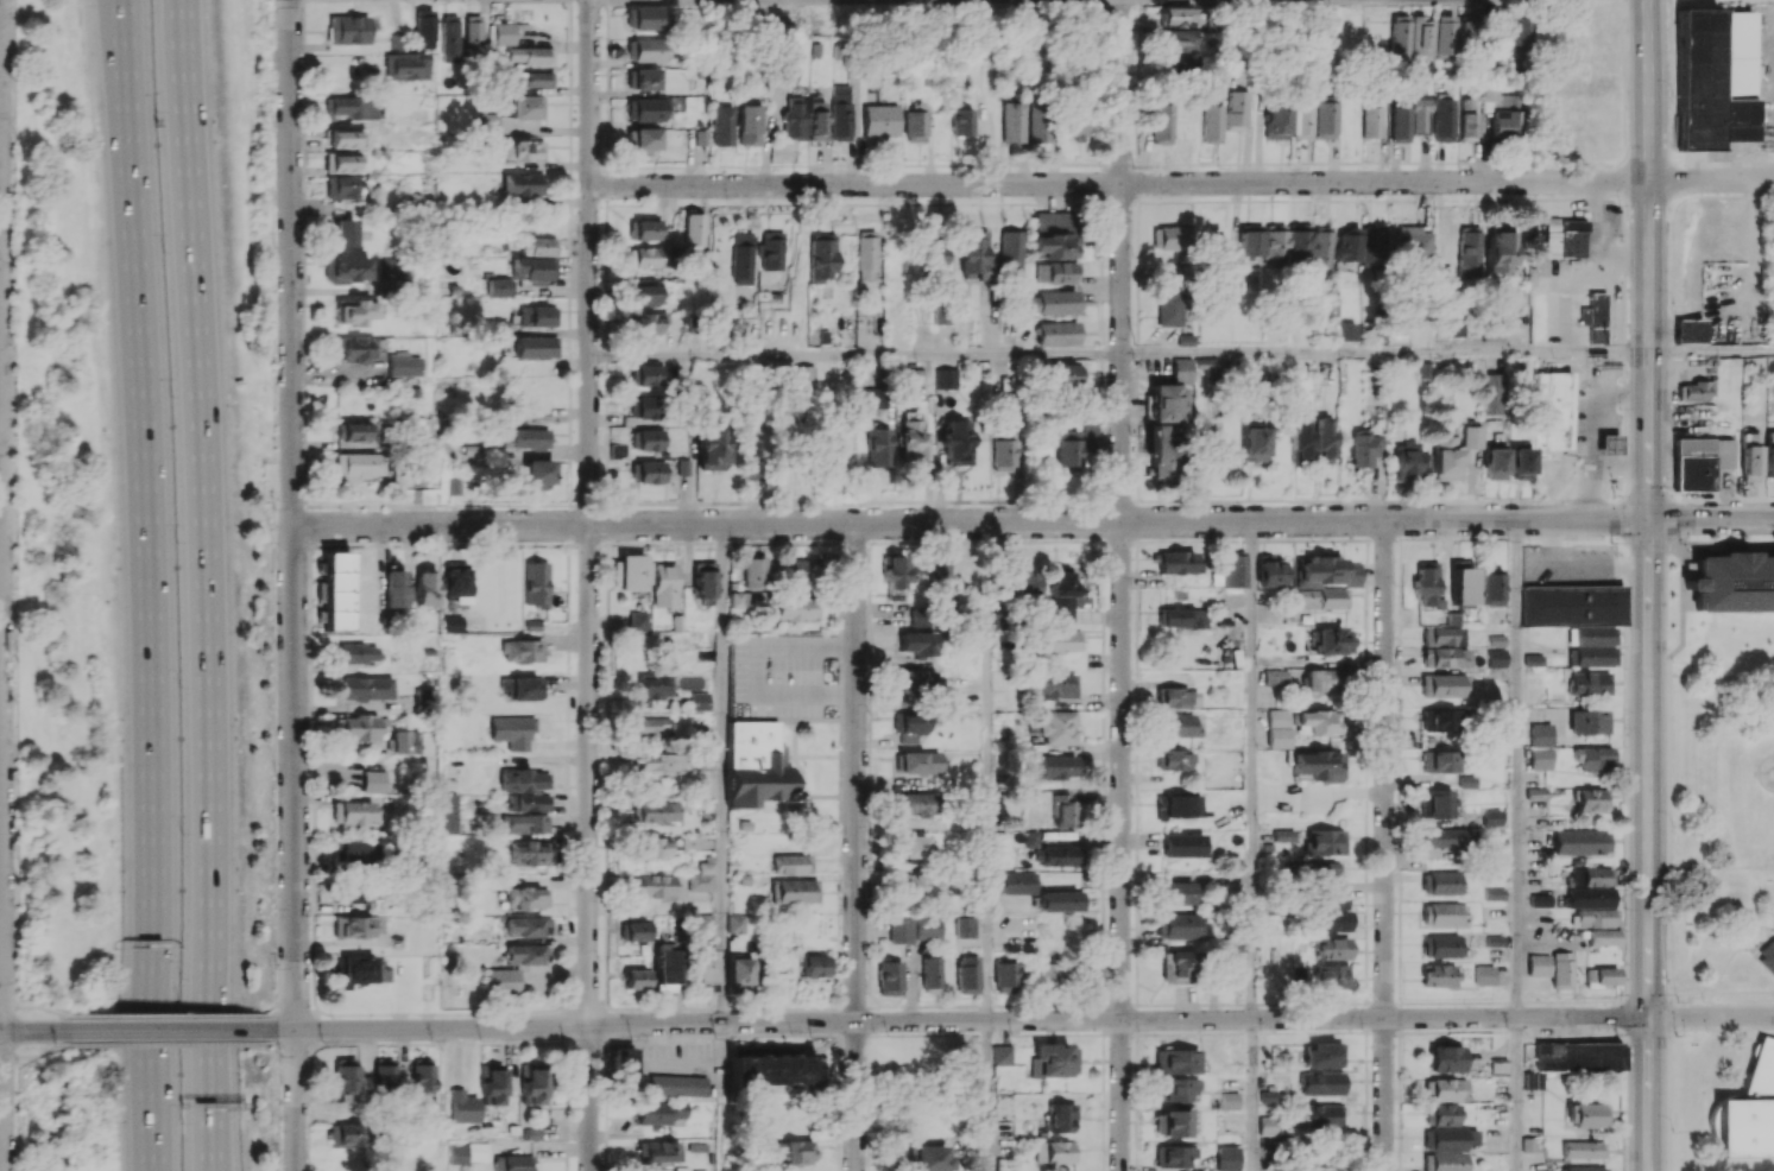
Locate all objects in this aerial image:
power tower: (273, 1)
building: (1176, 15)
building: (645, 18)
building: (423, 24)
building: (347, 29)
building: (474, 32)
building: (503, 33)
building: (1466, 33)
building: (1400, 36)
building: (1421, 36)
building: (1444, 36)
building: (1516, 36)
building: (449, 38)
building: (1178, 39)
building: (646, 49)
building: (529, 55)
building: (1176, 64)
building: (405, 65)
building: (784, 76)
building: (531, 78)
building: (645, 78)
building: (1715, 82)
building: (346, 106)
building: (526, 107)
building: (646, 109)
building: (1231, 109)
street lamp: (153, 110)
building: (840, 112)
building: (1498, 112)
building: (1419, 113)
building: (1299, 116)
building: (791, 118)
building: (1442, 118)
building: (1467, 119)
building: (815, 120)
building: (879, 120)
building: (1322, 120)
building: (961, 121)
building: (1011, 121)
building: (1037, 121)
building: (1273, 121)
building: (1370, 121)
building: (487, 122)
building: (914, 122)
building: (1206, 122)
building: (1399, 122)
building: (1077, 124)
building: (1159, 124)
building: (746, 125)
building: (719, 126)
building: (342, 138)
building: (642, 140)
building: (523, 150)
building: (340, 162)
road: (1711, 179)
building: (524, 183)
road: (1119, 183)
building: (340, 186)
road: (185, 189)
building: (694, 228)
building: (646, 229)
building: (343, 232)
building: (1054, 235)
building: (1170, 238)
building: (1564, 238)
building: (1251, 241)
building: (1276, 241)
building: (1413, 242)
building: (538, 245)
building: (1349, 245)
building: (1374, 245)
street lamp: (272, 246)
building: (1300, 247)
building: (1500, 248)
street lamp: (14, 249)
building: (1322, 249)
street lamp: (163, 251)
building: (772, 251)
building: (1469, 253)
building: (865, 254)
building: (895, 254)
building: (973, 254)
building: (1009, 254)
building: (651, 257)
building: (741, 258)
building: (820, 258)
building: (932, 259)
building: (348, 268)
building: (534, 268)
building: (387, 271)
building: (1054, 272)
building: (500, 286)
building: (649, 295)
building: (1050, 302)
building: (1168, 308)
building: (356, 311)
building: (941, 315)
building: (537, 316)
building: (1595, 317)
building: (646, 322)
building: (1687, 330)
building: (1346, 331)
building: (1056, 333)
building: (536, 347)
road: (1711, 350)
road: (1385, 353)
road: (856, 354)
building: (403, 366)
building: (1206, 366)
street lamp: (273, 371)
street lamp: (13, 372)
building: (803, 374)
building: (908, 374)
building: (646, 375)
building: (1065, 375)
building: (945, 378)
building: (1696, 390)
building: (1495, 393)
street lamp: (170, 397)
building: (873, 397)
building: (1168, 398)
building: (646, 407)
building: (1553, 409)
building: (354, 430)
road: (1596, 430)
building: (1088, 435)
building: (1471, 436)
building: (525, 437)
building: (910, 437)
building: (1299, 437)
building: (649, 439)
building: (1321, 439)
building: (957, 442)
building: (1609, 444)
building: (1254, 445)
building: (711, 447)
building: (1364, 447)
building: (878, 448)
building: (1066, 449)
building: (618, 450)
building: (1162, 451)
building: (1749, 454)
building: (1769, 454)
building: (1000, 455)
building: (1445, 458)
building: (1409, 460)
road: (1622, 461)
building: (1698, 462)
building: (1492, 463)
building: (1519, 463)
building: (358, 466)
building: (649, 471)
building: (538, 474)
street lamp: (271, 507)
road: (1711, 517)
traffic signals: (1648, 518)
road: (971, 523)
street lamp: (175, 539)
building: (1178, 562)
building: (939, 570)
building: (801, 571)
building: (1233, 571)
building: (630, 572)
building: (752, 572)
building: (1269, 572)
building: (894, 574)
building: (1351, 574)
building: (703, 578)
building: (971, 581)
building: (1732, 582)
building: (456, 583)
building: (535, 583)
building: (1318, 583)
road: (149, 584)
road: (293, 584)
road: (589, 584)
building: (663, 584)
building: (1027, 584)
road: (1120, 584)
building: (1425, 584)
road: (1648, 584)
building: (1460, 585)
building: (427, 587)
building: (1490, 587)
building: (396, 588)
building: (336, 591)
building: (1061, 594)
building: (795, 608)
road: (1669, 609)
building: (917, 614)
building: (1183, 618)
building: (1578, 618)
building: (638, 620)
building: (453, 624)
street lamp: (13, 631)
building: (1332, 640)
building: (1060, 641)
building: (915, 643)
building: (1444, 645)
building: (520, 651)
building: (356, 653)
building: (1496, 663)
road: (760, 669)
building: (1275, 678)
road: (1721, 678)
building: (1325, 679)
building: (913, 682)
building: (1589, 683)
building: (1054, 684)
building: (1444, 685)
street lamp: (179, 686)
building: (520, 686)
building: (365, 688)
building: (654, 688)
building: (1175, 697)
building: (700, 701)
building: (1440, 720)
building: (1589, 721)
building: (1319, 722)
building: (1176, 724)
building: (649, 726)
building: (910, 727)
building: (1060, 727)
building: (1277, 728)
building: (1540, 734)
building: (400, 742)
building: (1540, 758)
building: (1173, 759)
building: (1593, 759)
building: (1439, 761)
building: (652, 762)
building: (917, 762)
building: (756, 764)
building: (1319, 765)
building: (1059, 766)
road: (1251, 770)
road: (987, 771)
street lamp: (272, 773)
road: (722, 773)
road: (209, 774)
building: (372, 781)
building: (525, 789)
building: (1591, 799)
building: (1435, 803)
building: (913, 804)
building: (1178, 806)
building: (1065, 808)
building: (655, 811)
building: (449, 812)
building: (355, 814)
building: (1490, 817)
building: (524, 823)
street lamp: (181, 833)
road: (1668, 834)
building: (1283, 835)
building: (1437, 836)
building: (1580, 841)
building: (1325, 842)
building: (1182, 844)
road: (1517, 844)
building: (659, 846)
building: (911, 846)
road: (1385, 846)
road: (857, 847)
building: (354, 852)
building: (529, 853)
building: (1059, 856)
building: (790, 863)
road: (1721, 867)
building: (1325, 871)
street lamp: (14, 874)
building: (1591, 875)
building: (701, 878)
building: (1017, 882)
building: (1441, 882)
building: (918, 885)
building: (655, 886)
building: (794, 891)
building: (353, 892)
building: (1174, 893)
building: (1494, 893)
building: (1587, 897)
building: (526, 898)
building: (1060, 900)
building: (1539, 900)
street lamp: (273, 907)
building: (1332, 911)
park: (1725, 916)
building: (1593, 917)
building: (701, 922)
building: (737, 923)
building: (1176, 925)
building: (351, 926)
building: (528, 926)
building: (926, 929)
building: (899, 930)
building: (964, 930)
building: (636, 931)
building: (1602, 937)
building: (1495, 939)
building: (1441, 945)
building: (1332, 949)
road: (1735, 951)
building: (526, 954)
building: (1767, 955)
building: (665, 962)
building: (705, 963)
building: (1538, 964)
building: (815, 966)
building: (1175, 967)
building: (354, 970)
building: (739, 970)
building: (1560, 970)
building: (1232, 973)
building: (930, 974)
building: (1046, 975)
building: (1332, 975)
building: (1440, 975)
building: (1483, 975)
building: (967, 976)
building: (1006, 976)
building: (1604, 976)
street lamp: (182, 977)
building: (889, 977)
building: (1090, 977)
building: (637, 979)
building: (503, 980)
road: (1691, 992)
road: (1743, 992)
street lamp: (19, 999)
road: (36, 1006)
street lamp: (181, 1011)
road: (168, 1014)
road: (434, 1014)
traffic signals: (1650, 1015)
road: (1712, 1015)
street lamp: (332, 1018)
road: (957, 1020)
road: (31, 1030)
road: (163, 1030)
street lamp: (430, 1040)
road: (428, 1043)
road: (172, 1044)
street lamp: (277, 1055)
building: (1002, 1055)
building: (1318, 1055)
road: (38, 1056)
building: (1578, 1056)
building: (1444, 1058)
building: (1054, 1059)
building: (1175, 1062)
street lamp: (14, 1063)
building: (1497, 1066)
building: (770, 1070)
building: (624, 1071)
building: (384, 1074)
building: (422, 1076)
building: (346, 1078)
building: (1532, 1081)
building: (1321, 1083)
building: (491, 1084)
building: (532, 1084)
building: (677, 1085)
building: (1176, 1088)
building: (1447, 1089)
road: (986, 1095)
road: (1251, 1095)
road: (722, 1096)
road: (442, 1100)
building: (1230, 1100)
building: (462, 1107)
building: (661, 1112)
building: (1748, 1112)
building: (1442, 1113)
building: (1589, 1114)
building: (1321, 1115)
building: (1059, 1116)
street lamp: (182, 1123)
building: (1170, 1123)
building: (343, 1135)
building: (1447, 1147)
building: (1583, 1148)
building: (658, 1151)
building: (469, 1152)
building: (790, 1152)
building: (1053, 1152)
building: (1173, 1156)
building: (927, 1158)
building: (1225, 1158)
building: (512, 1163)
building: (1584, 1169)

